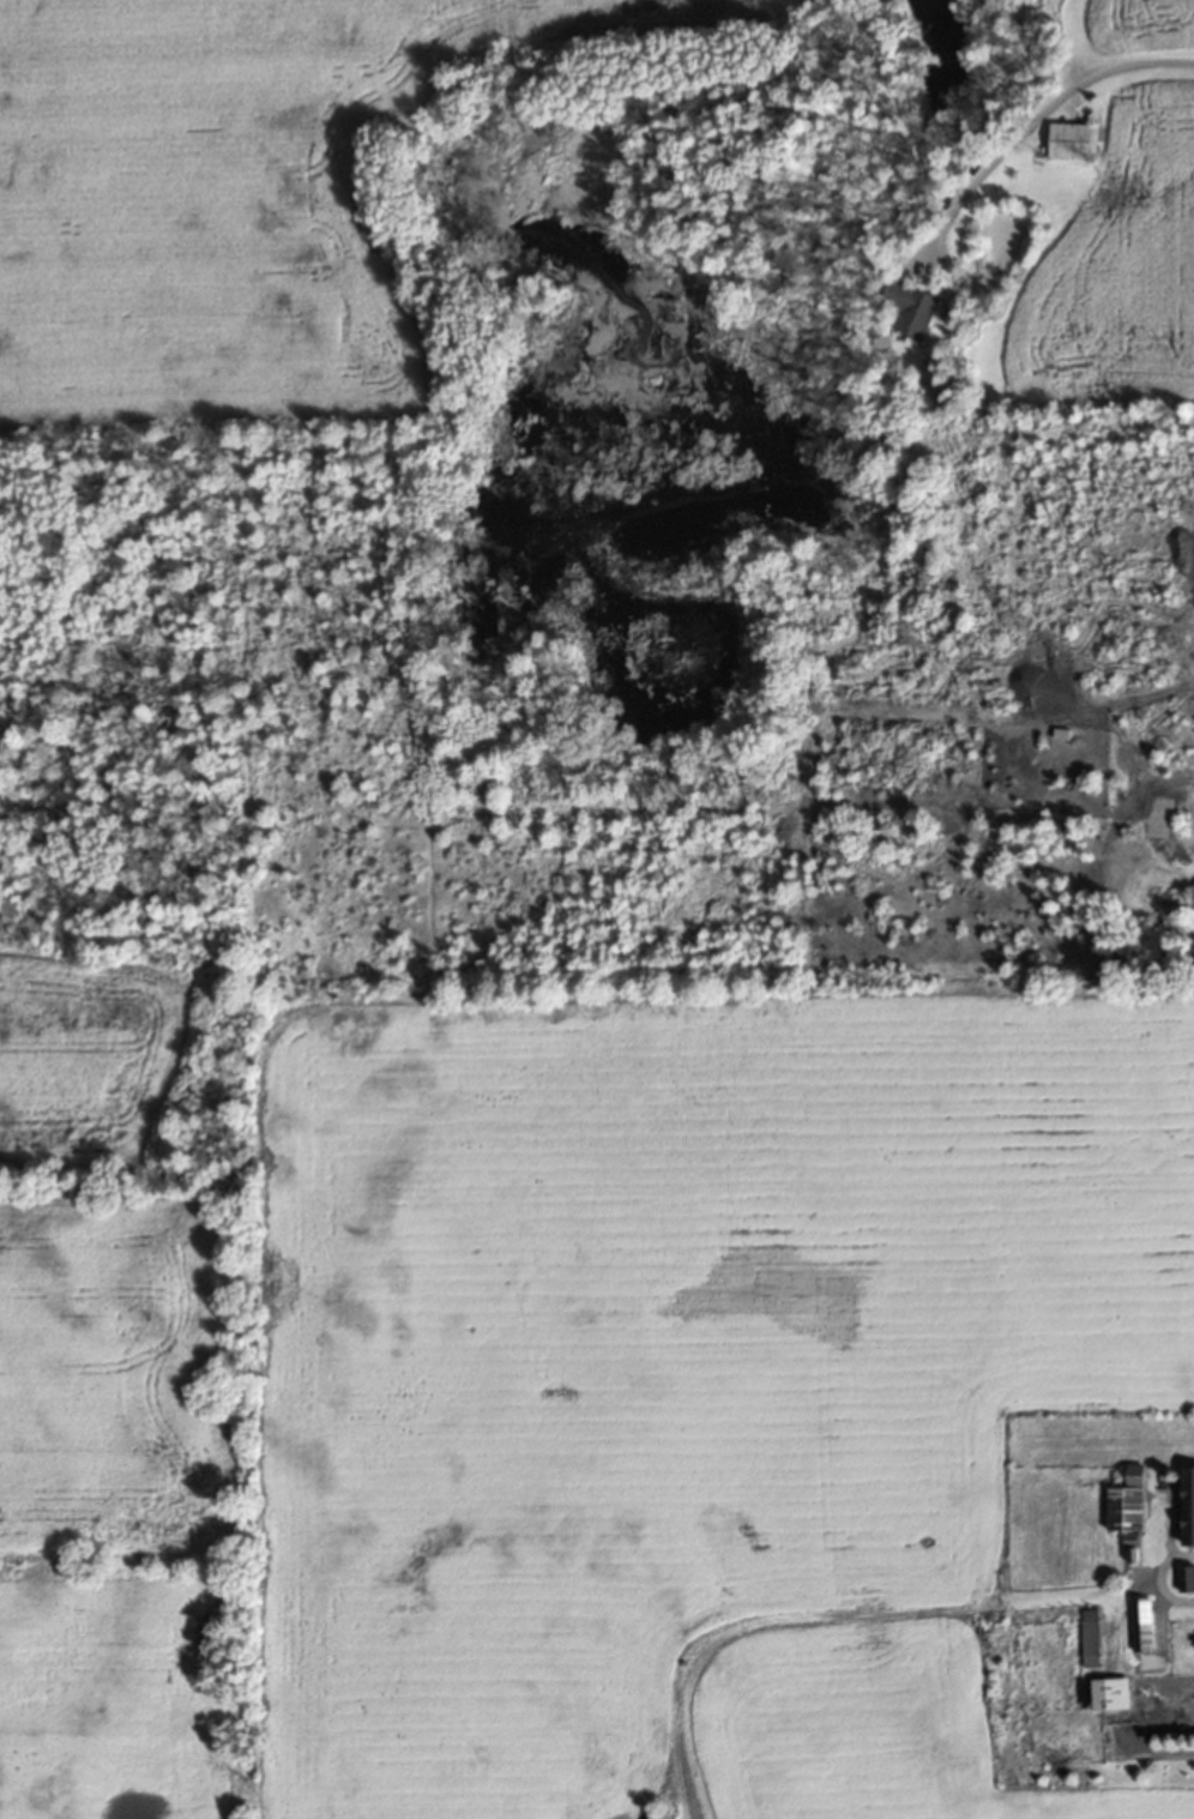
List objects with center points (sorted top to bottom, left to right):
road: (1033, 122)
building: (1068, 139)
building: (911, 308)
building: (1126, 1502)
building: (1188, 1504)
road: (1157, 1576)
building: (1186, 1578)
building: (1139, 1624)
building: (1087, 1632)
building: (1104, 1693)

